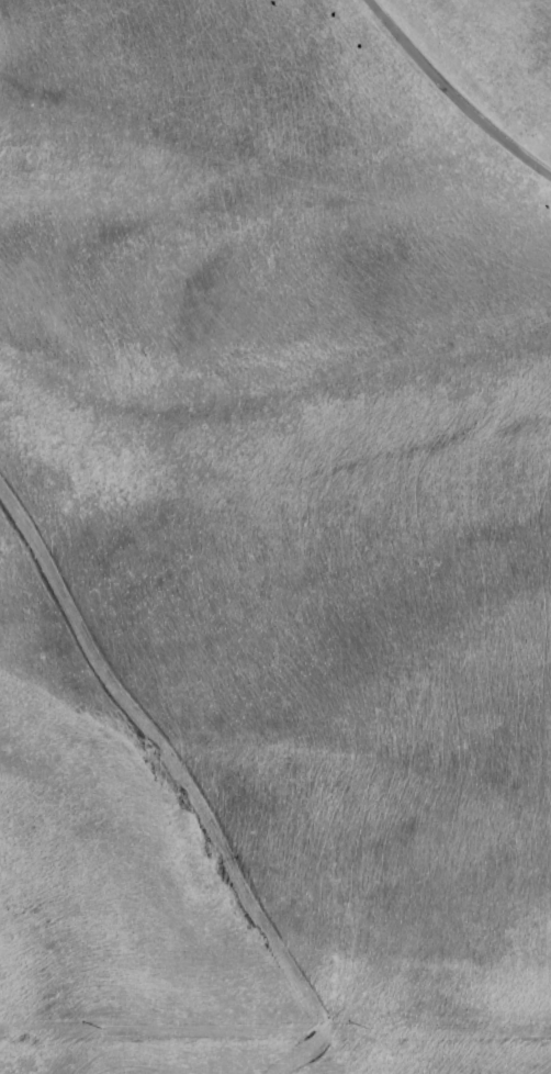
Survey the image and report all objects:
road: (457, 94)
road: (181, 773)

